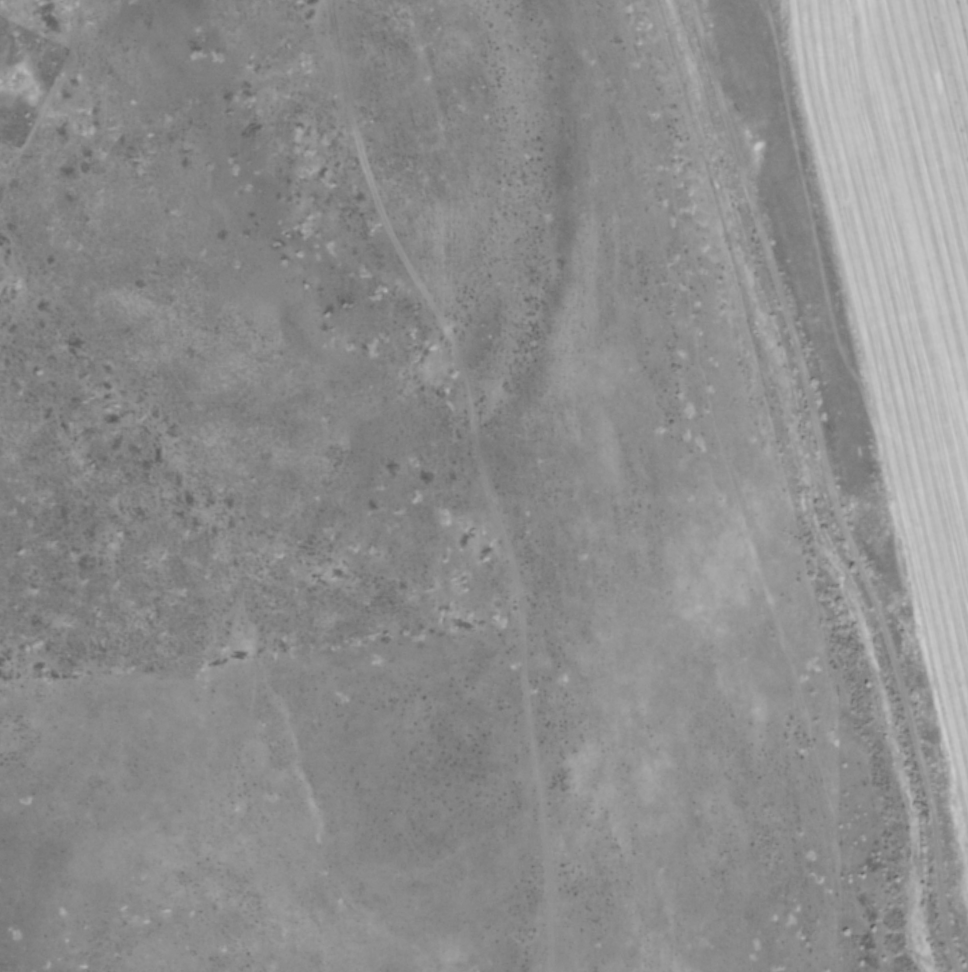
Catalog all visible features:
crop: (877, 315)
road: (859, 390)

